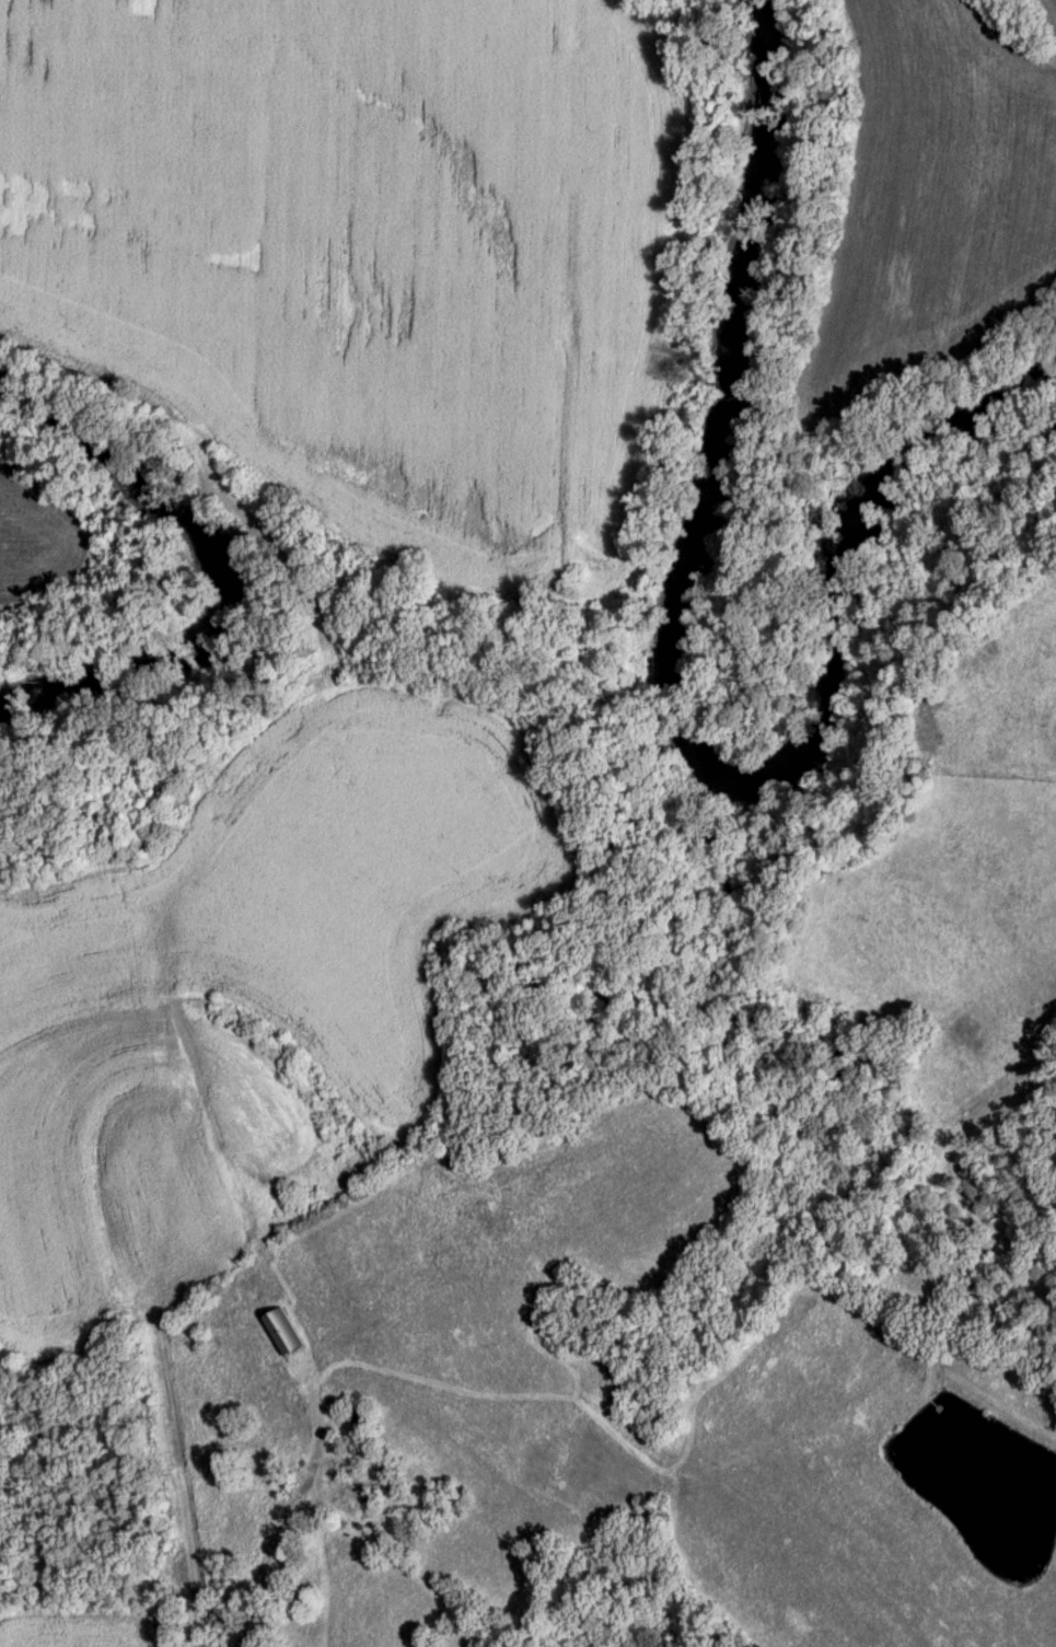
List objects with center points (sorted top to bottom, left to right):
river: (220, 573)
river: (693, 700)
building: (283, 1336)
building: (295, 1598)

